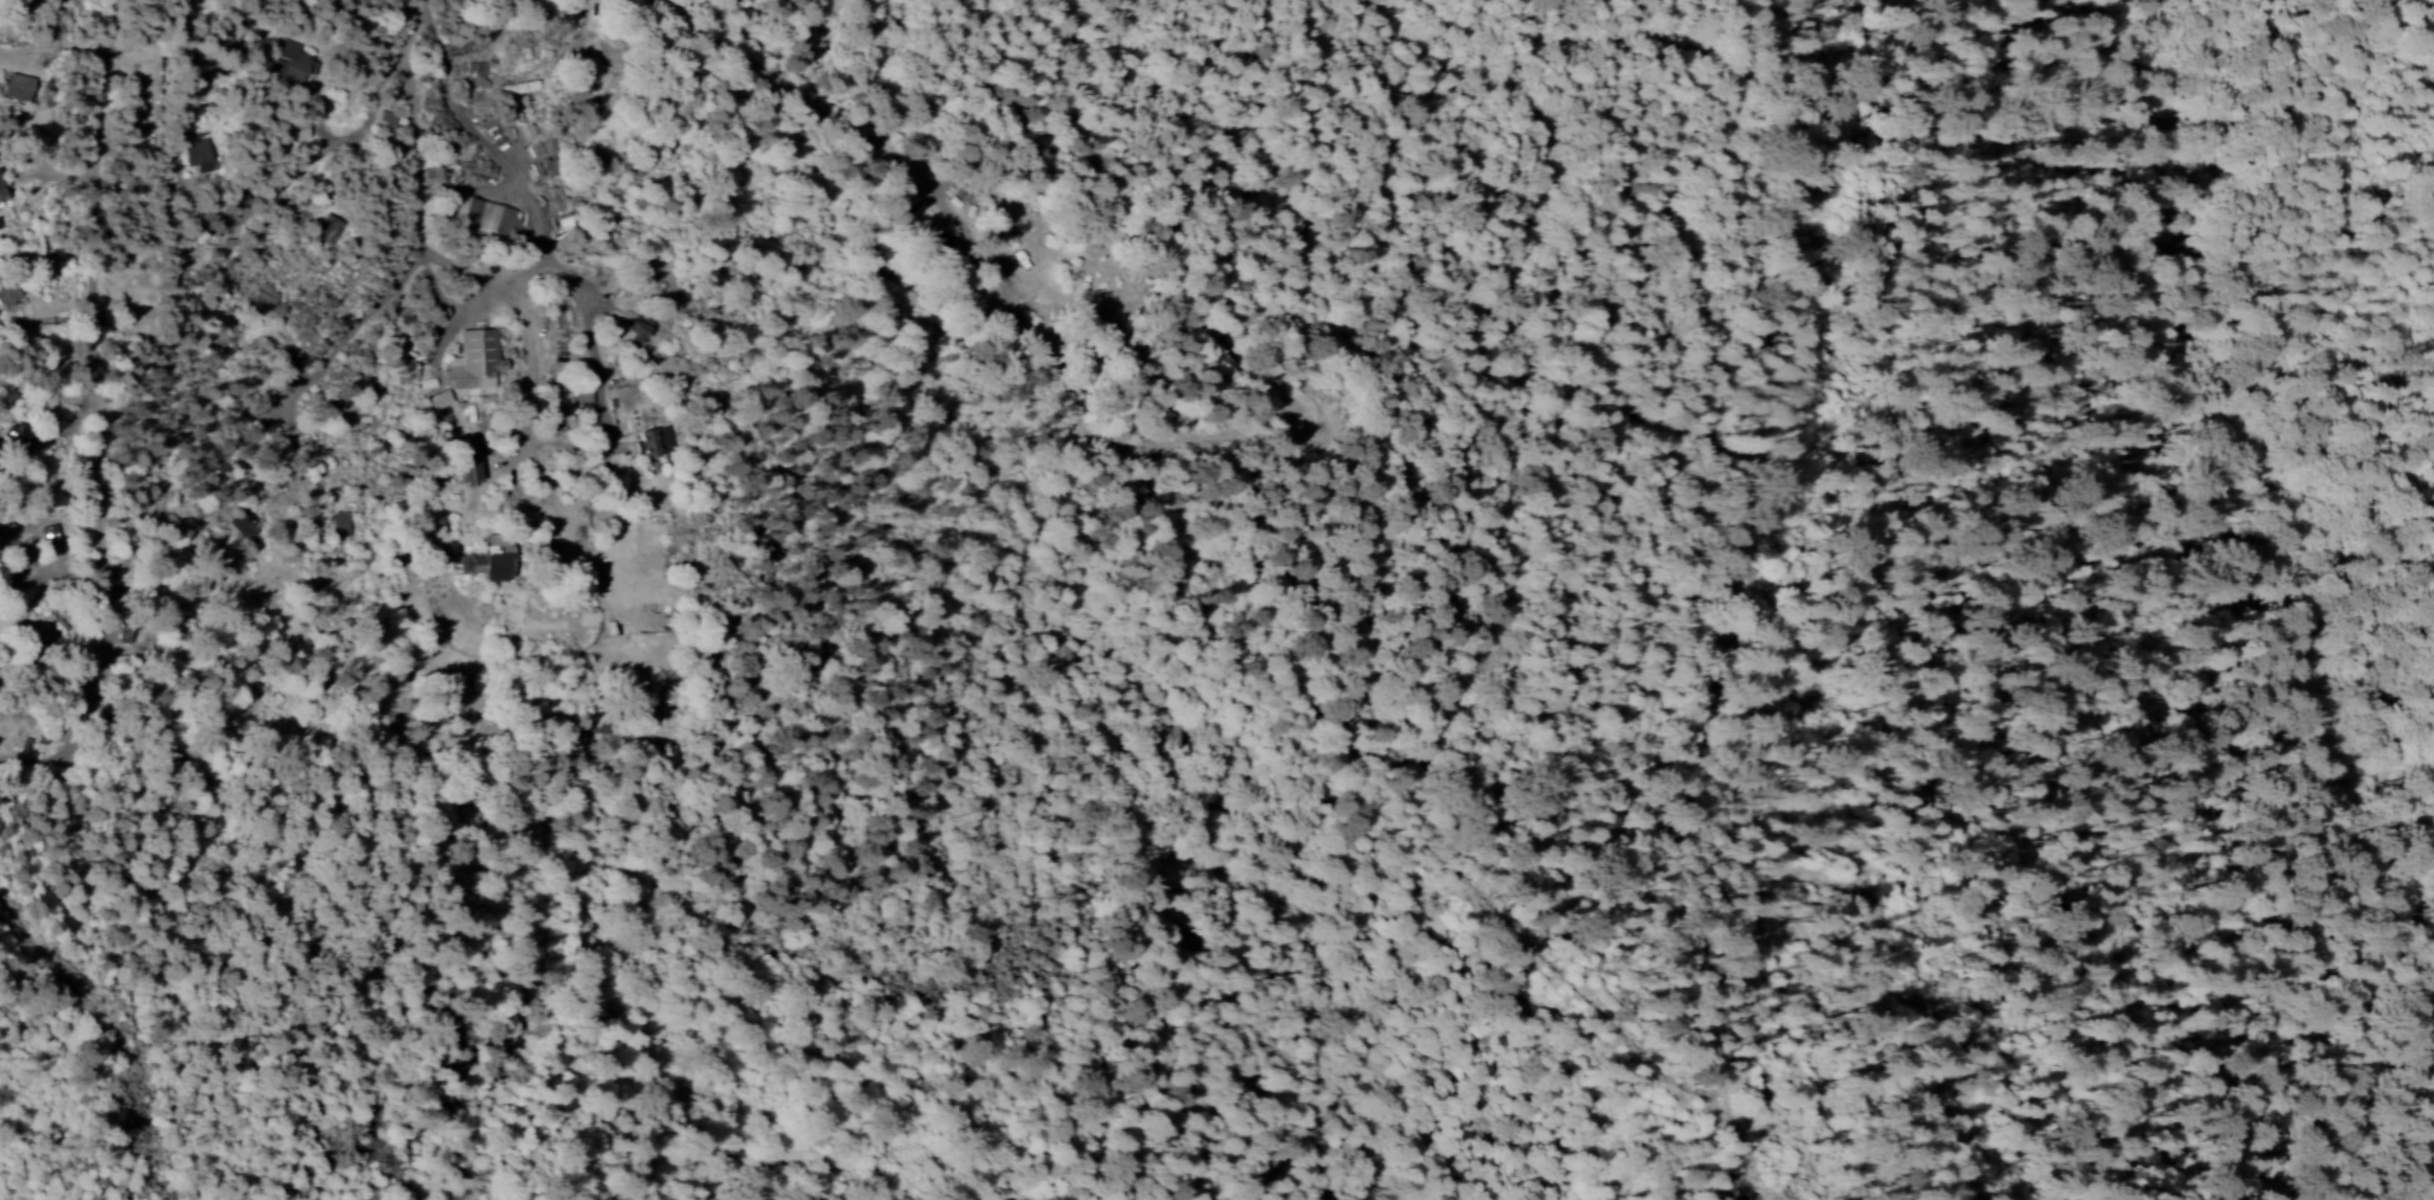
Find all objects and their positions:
building: (289, 63)
building: (16, 87)
building: (295, 131)
building: (195, 154)
building: (0, 196)
building: (326, 229)
road: (953, 237)
building: (1005, 237)
building: (6, 291)
building: (634, 332)
building: (472, 363)
road: (94, 388)
building: (437, 400)
building: (16, 435)
building: (653, 442)
building: (464, 471)
building: (242, 524)
building: (337, 524)
building: (482, 564)
building: (13, 573)

